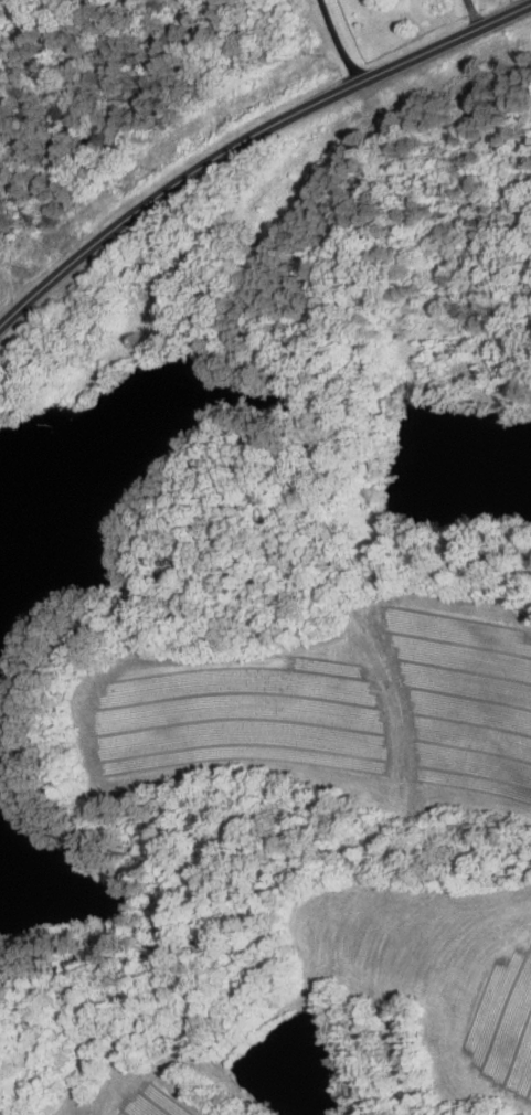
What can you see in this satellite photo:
road: (472, 14)
road: (338, 42)
road: (249, 140)

